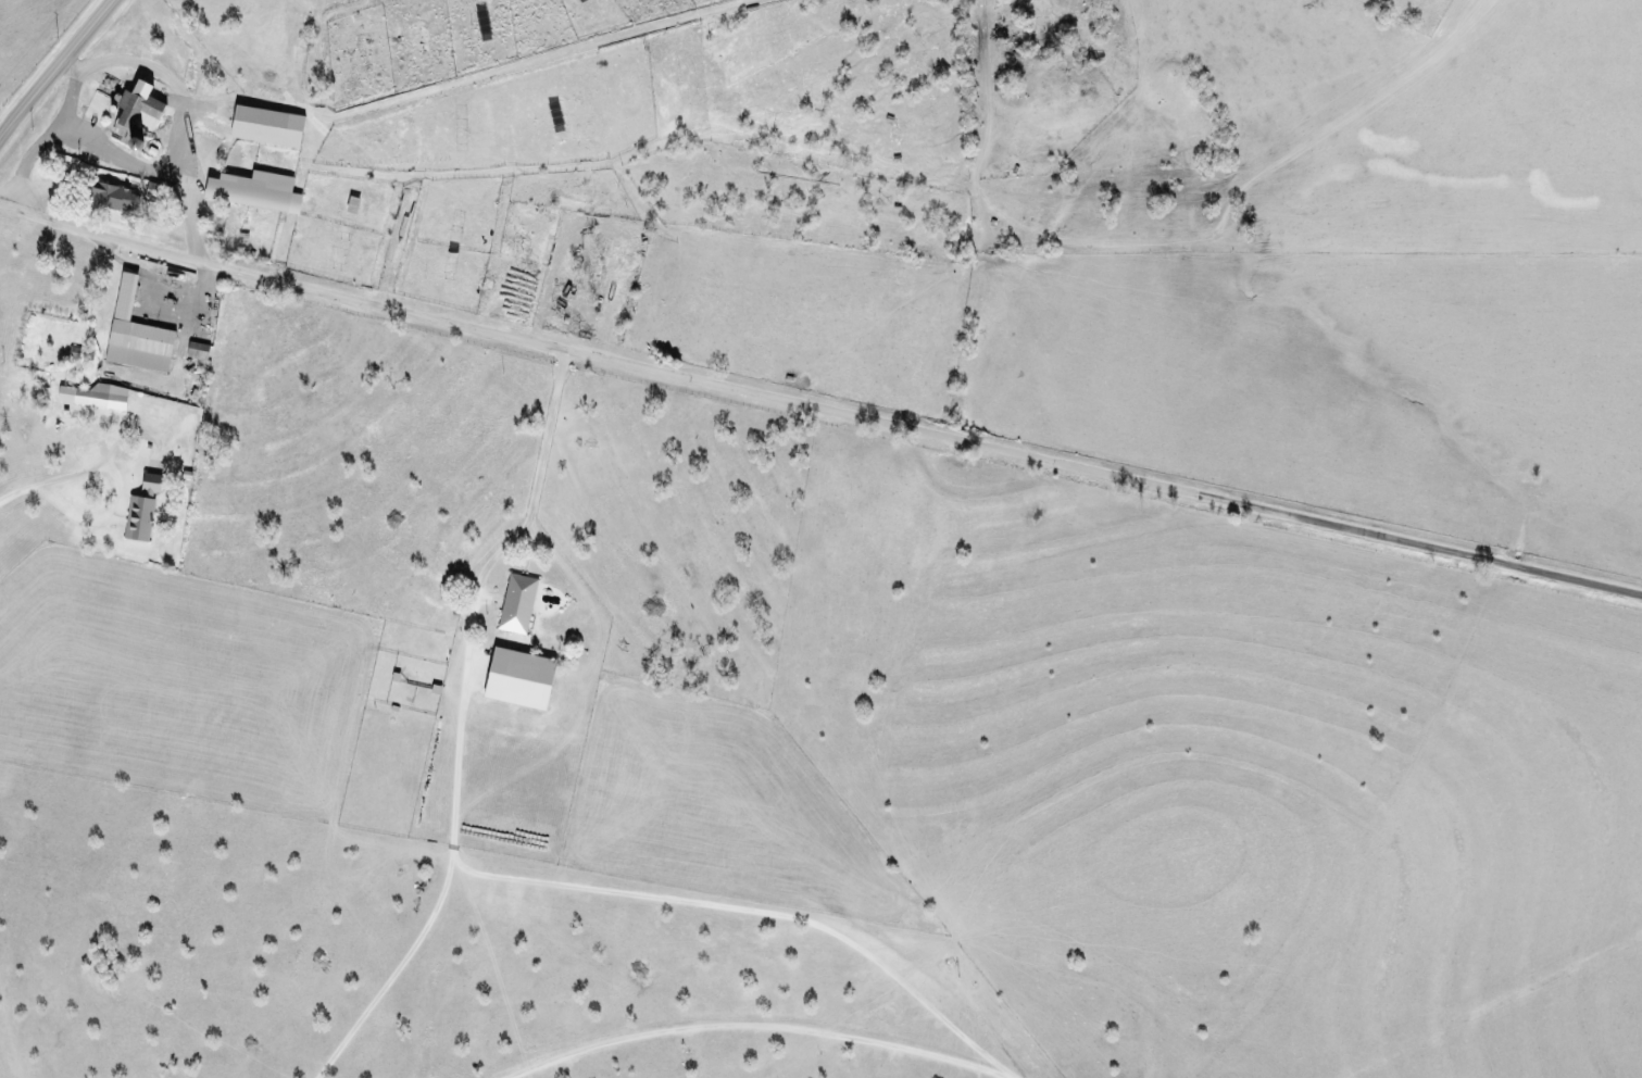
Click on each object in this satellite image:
road: (55, 66)
building: (129, 118)
building: (263, 126)
building: (250, 191)
building: (102, 196)
building: (348, 205)
building: (167, 218)
building: (238, 238)
building: (131, 334)
building: (191, 351)
road: (663, 375)
building: (90, 394)
building: (146, 480)
building: (134, 516)
road: (1486, 561)
building: (518, 603)
building: (523, 678)
road: (754, 1025)

